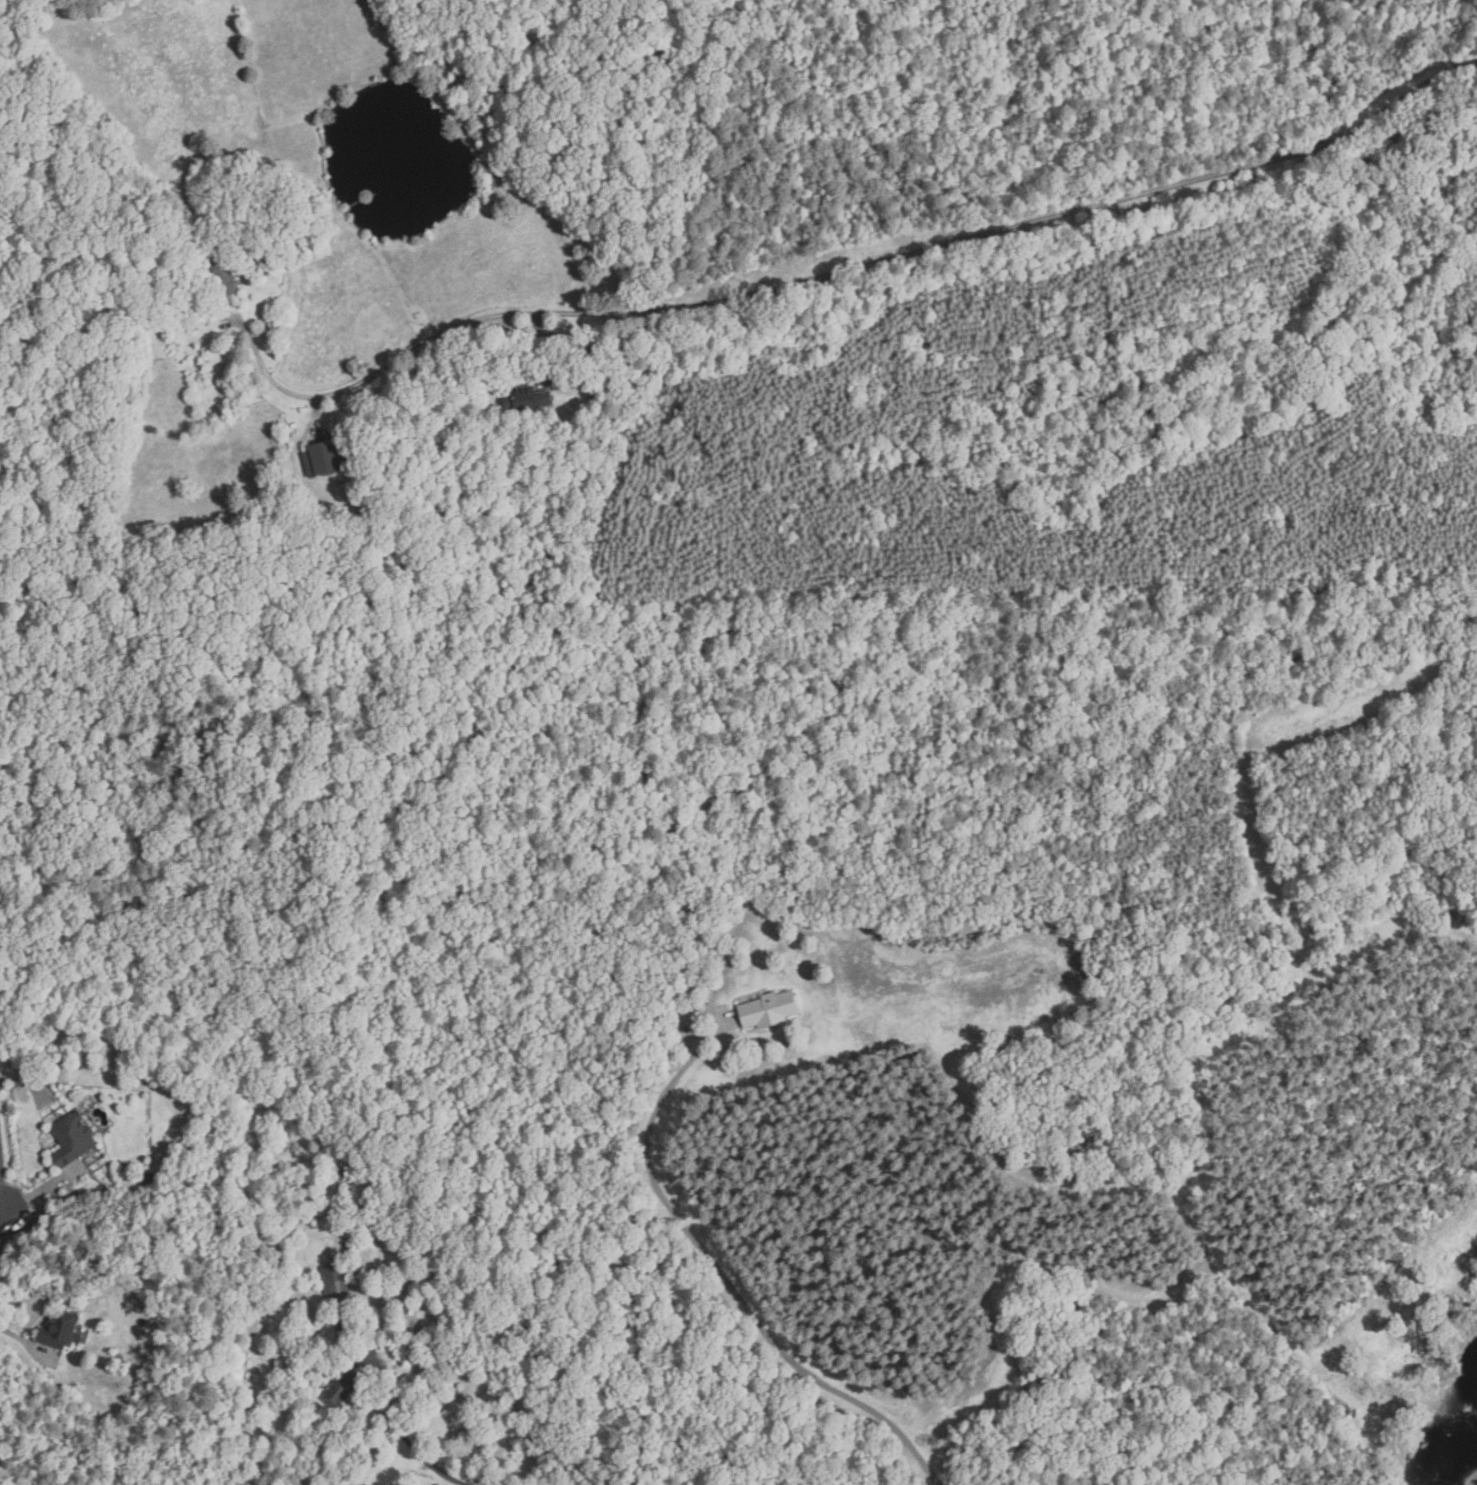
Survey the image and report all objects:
road: (886, 260)
building: (224, 273)
building: (614, 336)
building: (528, 399)
building: (325, 458)
building: (251, 515)
building: (770, 1010)
building: (73, 1140)
road: (2, 1180)
road: (44, 1189)
road: (2, 1211)
road: (725, 1276)
building: (335, 1283)
building: (61, 1333)
road: (23, 1340)
building: (341, 1389)
road: (404, 1434)

